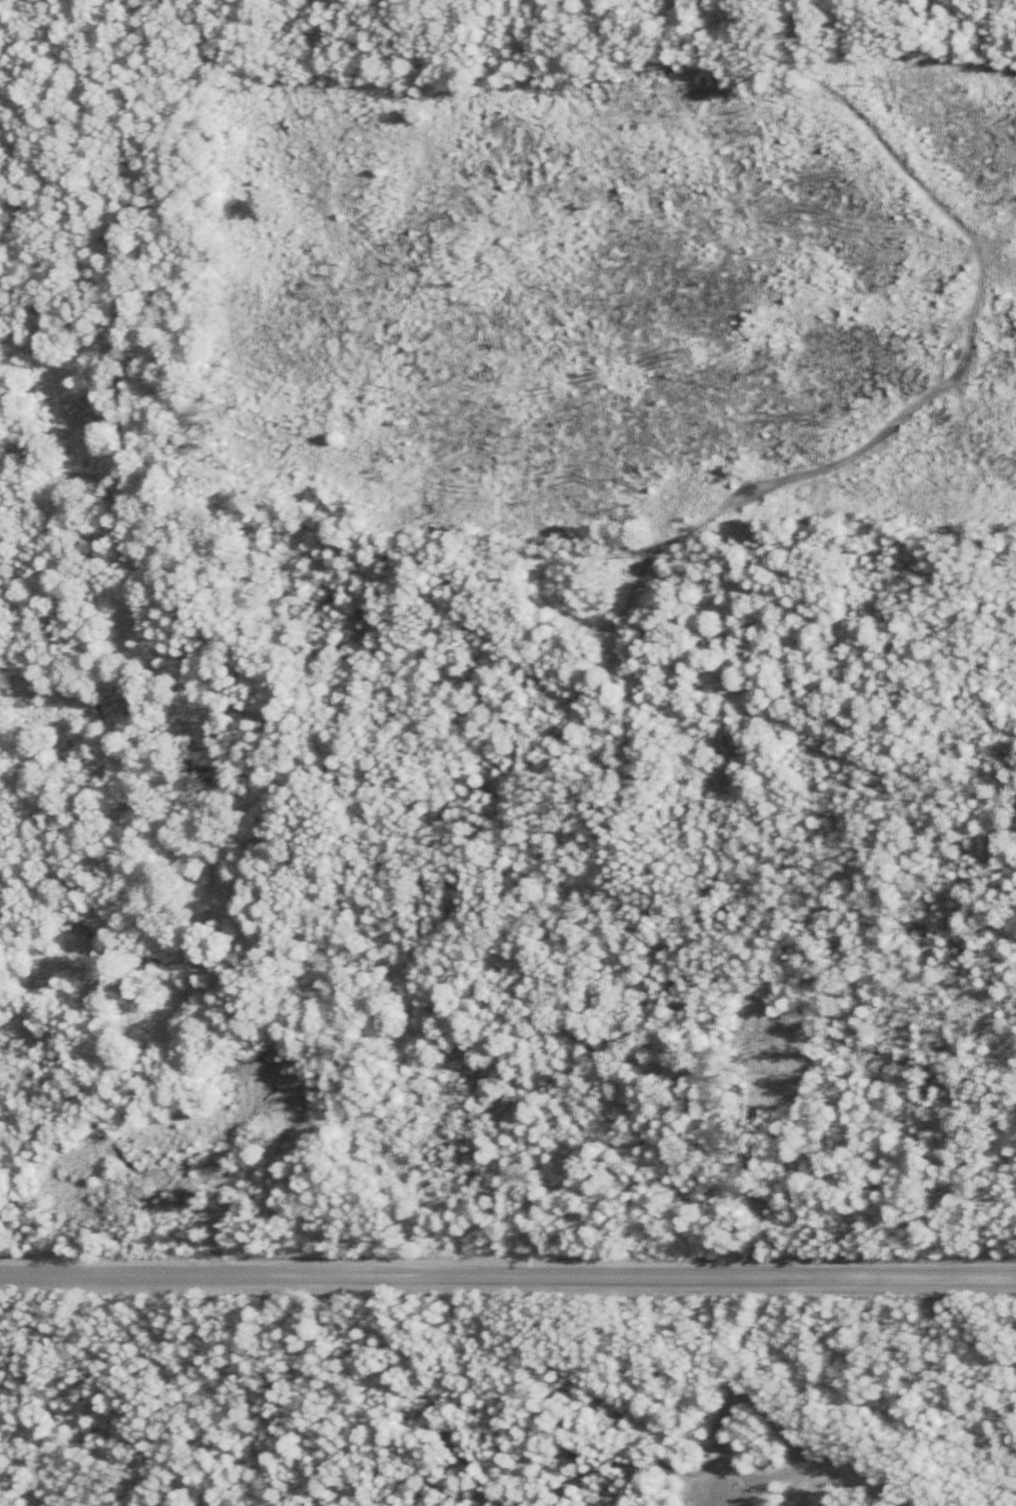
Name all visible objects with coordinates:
road: (508, 1280)
road: (847, 1480)

